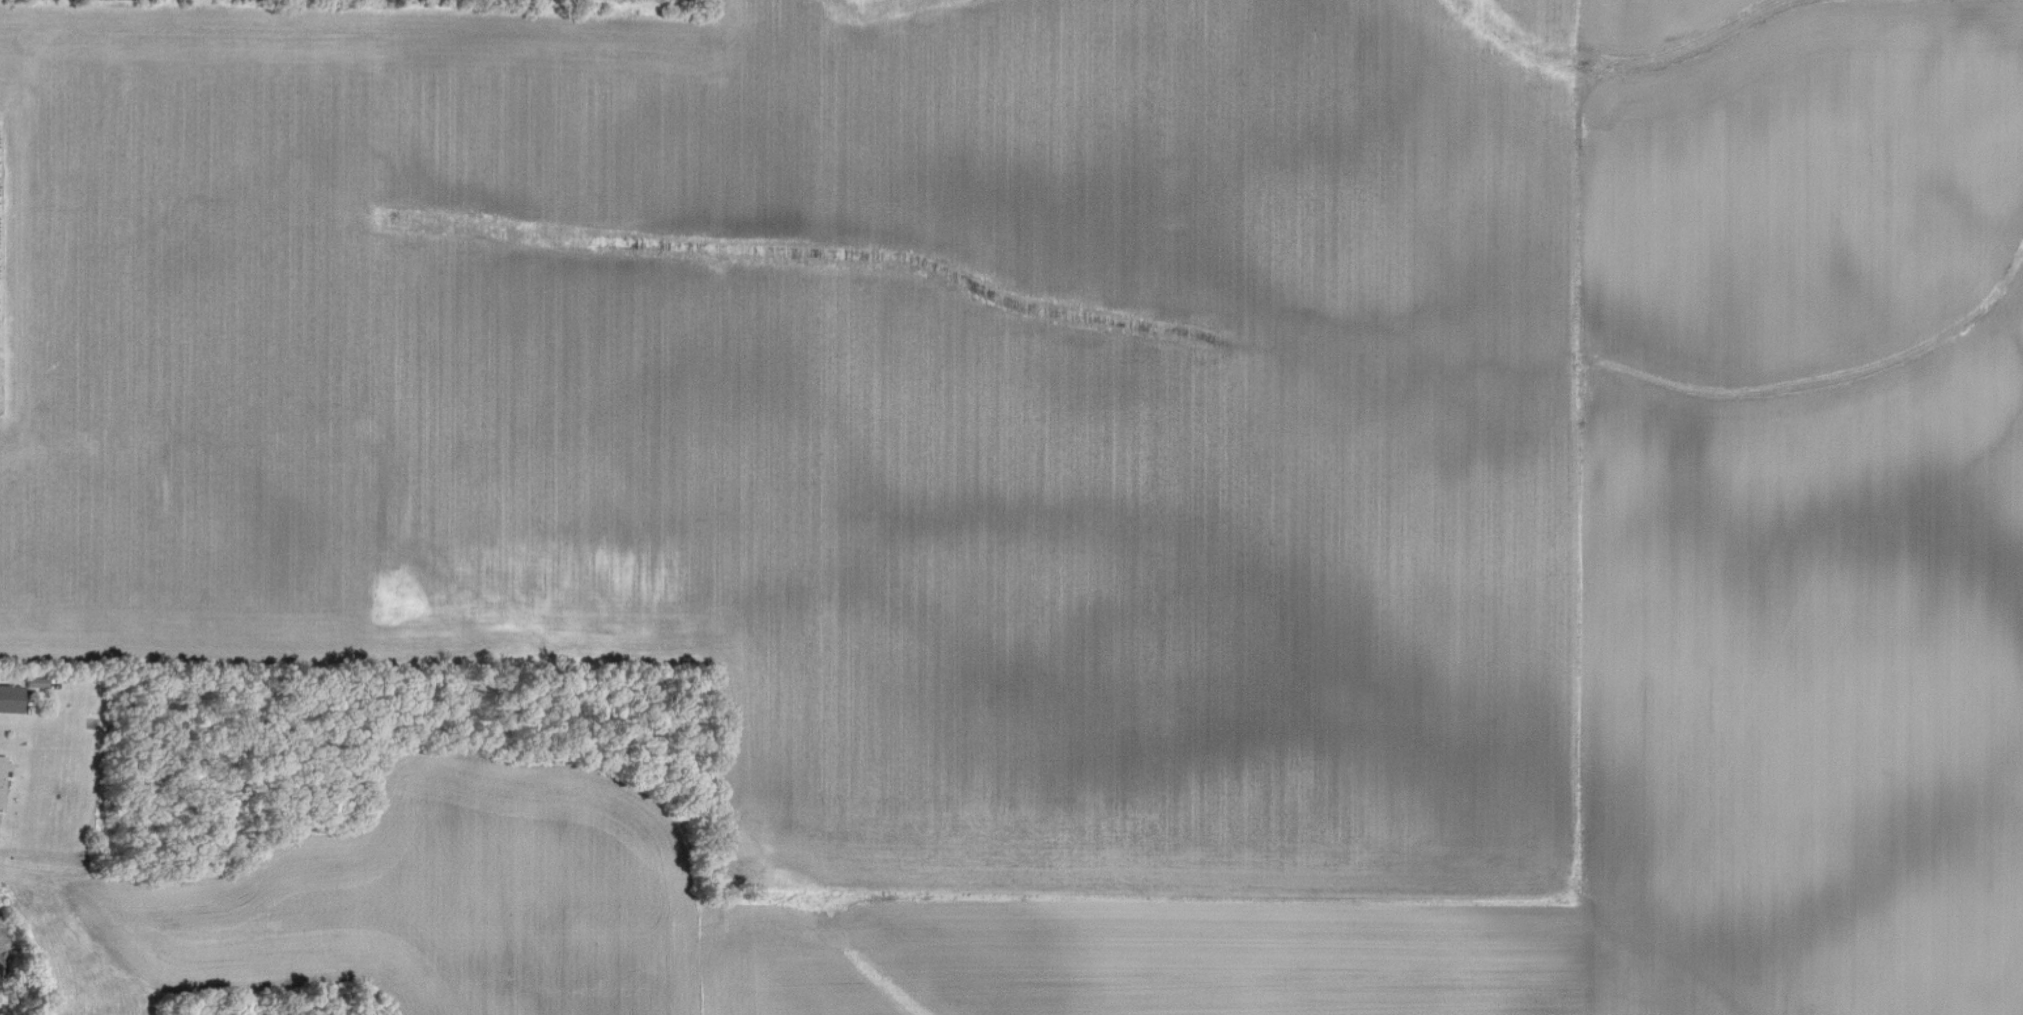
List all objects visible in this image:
building: (9, 697)

